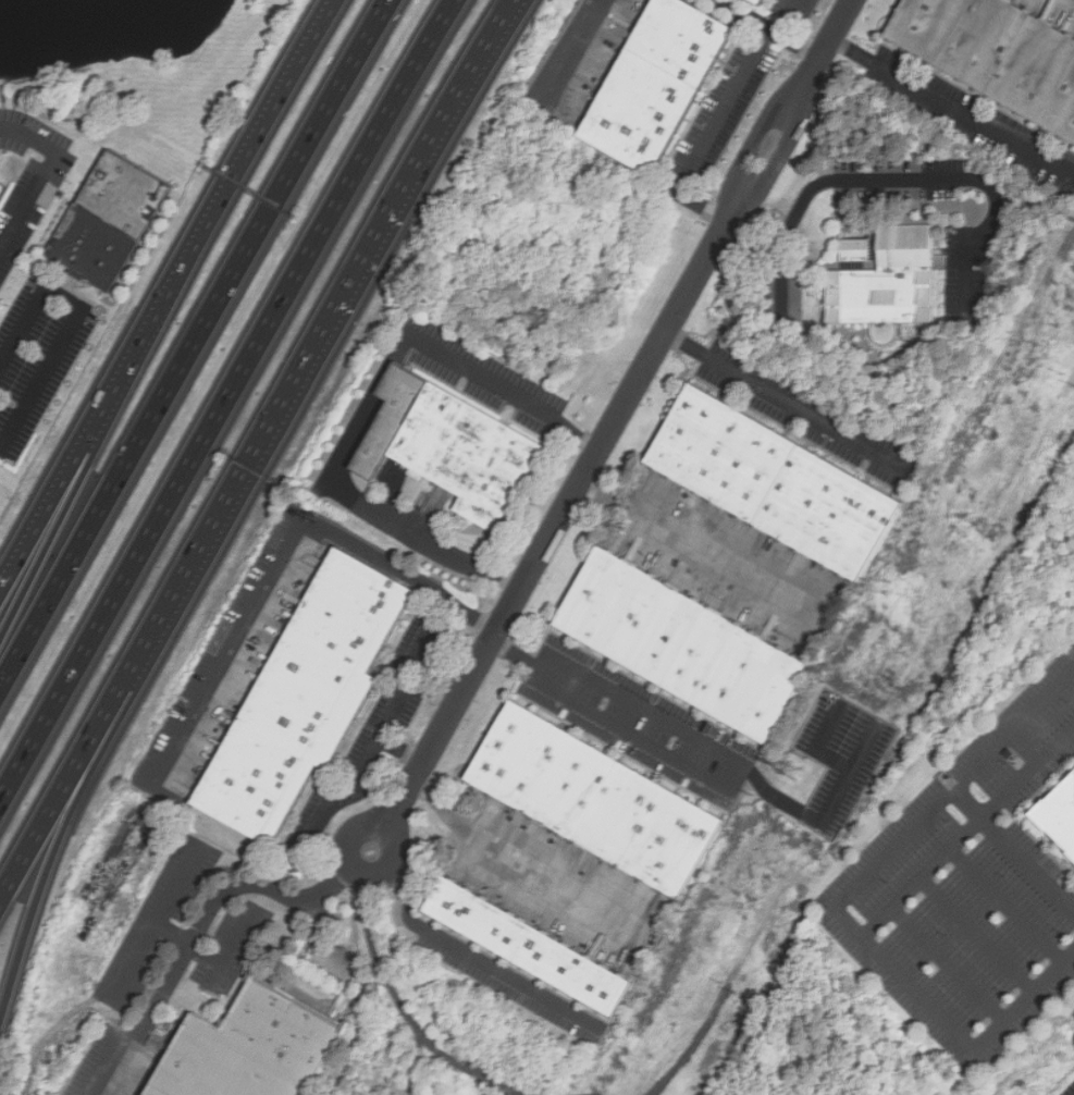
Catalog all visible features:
building: (760, 2)
road: (787, 16)
road: (768, 27)
road: (582, 48)
building: (997, 54)
building: (657, 84)
road: (948, 104)
road: (708, 134)
road: (45, 174)
road: (229, 180)
road: (903, 180)
building: (1, 187)
building: (108, 217)
building: (856, 251)
building: (889, 285)
road: (782, 287)
road: (341, 296)
road: (72, 321)
road: (194, 340)
road: (224, 398)
road: (786, 402)
road: (367, 408)
road: (612, 426)
building: (450, 446)
road: (63, 473)
building: (775, 483)
road: (64, 499)
road: (694, 545)
road: (284, 567)
building: (683, 645)
road: (415, 672)
building: (307, 698)
road: (650, 714)
road: (1016, 726)
road: (86, 746)
power tower: (791, 772)
road: (836, 784)
road: (1041, 799)
road: (76, 800)
building: (596, 801)
road: (1015, 815)
building: (1061, 815)
road: (968, 826)
road: (517, 860)
road: (1064, 878)
road: (843, 900)
road: (1008, 902)
road: (201, 920)
road: (976, 933)
building: (529, 947)
road: (458, 948)
road: (947, 960)
building: (255, 1048)

